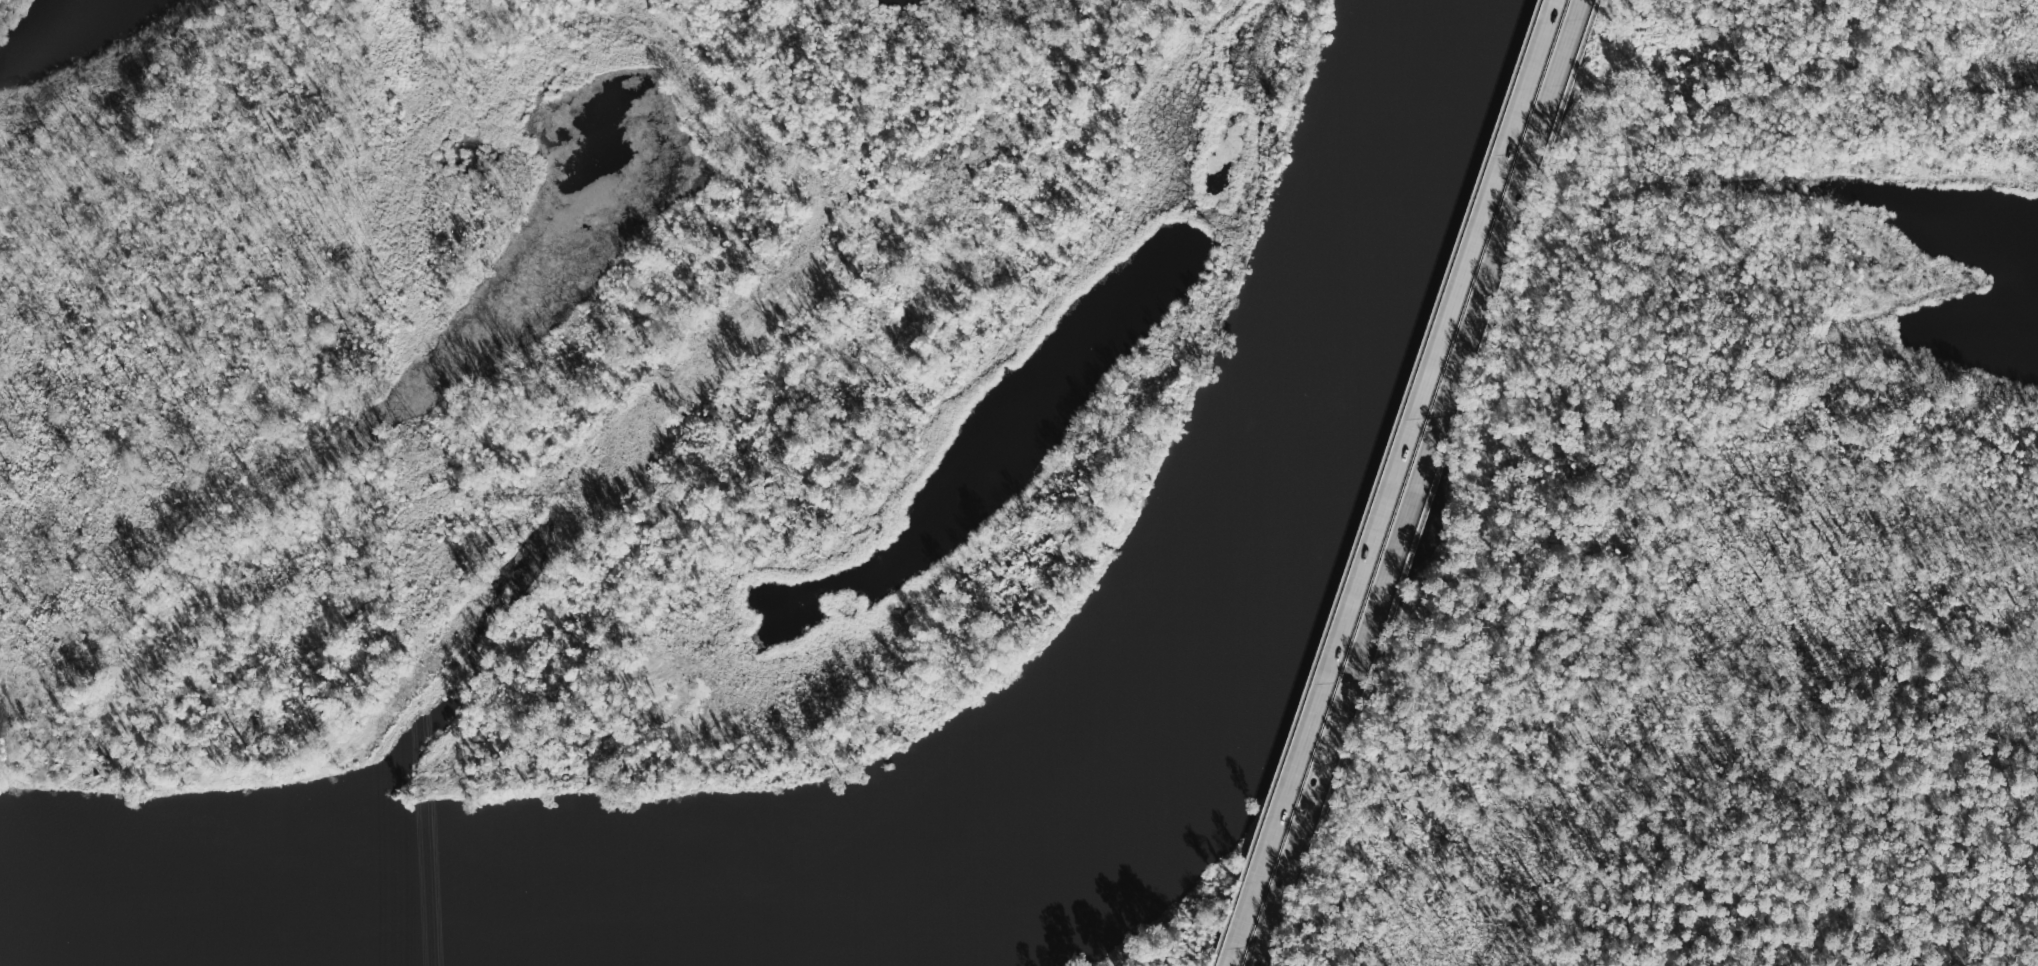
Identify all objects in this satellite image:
power tower: (424, 453)
road: (1390, 483)
road: (1419, 483)
road: (1435, 483)
river: (1200, 646)
river: (204, 931)

